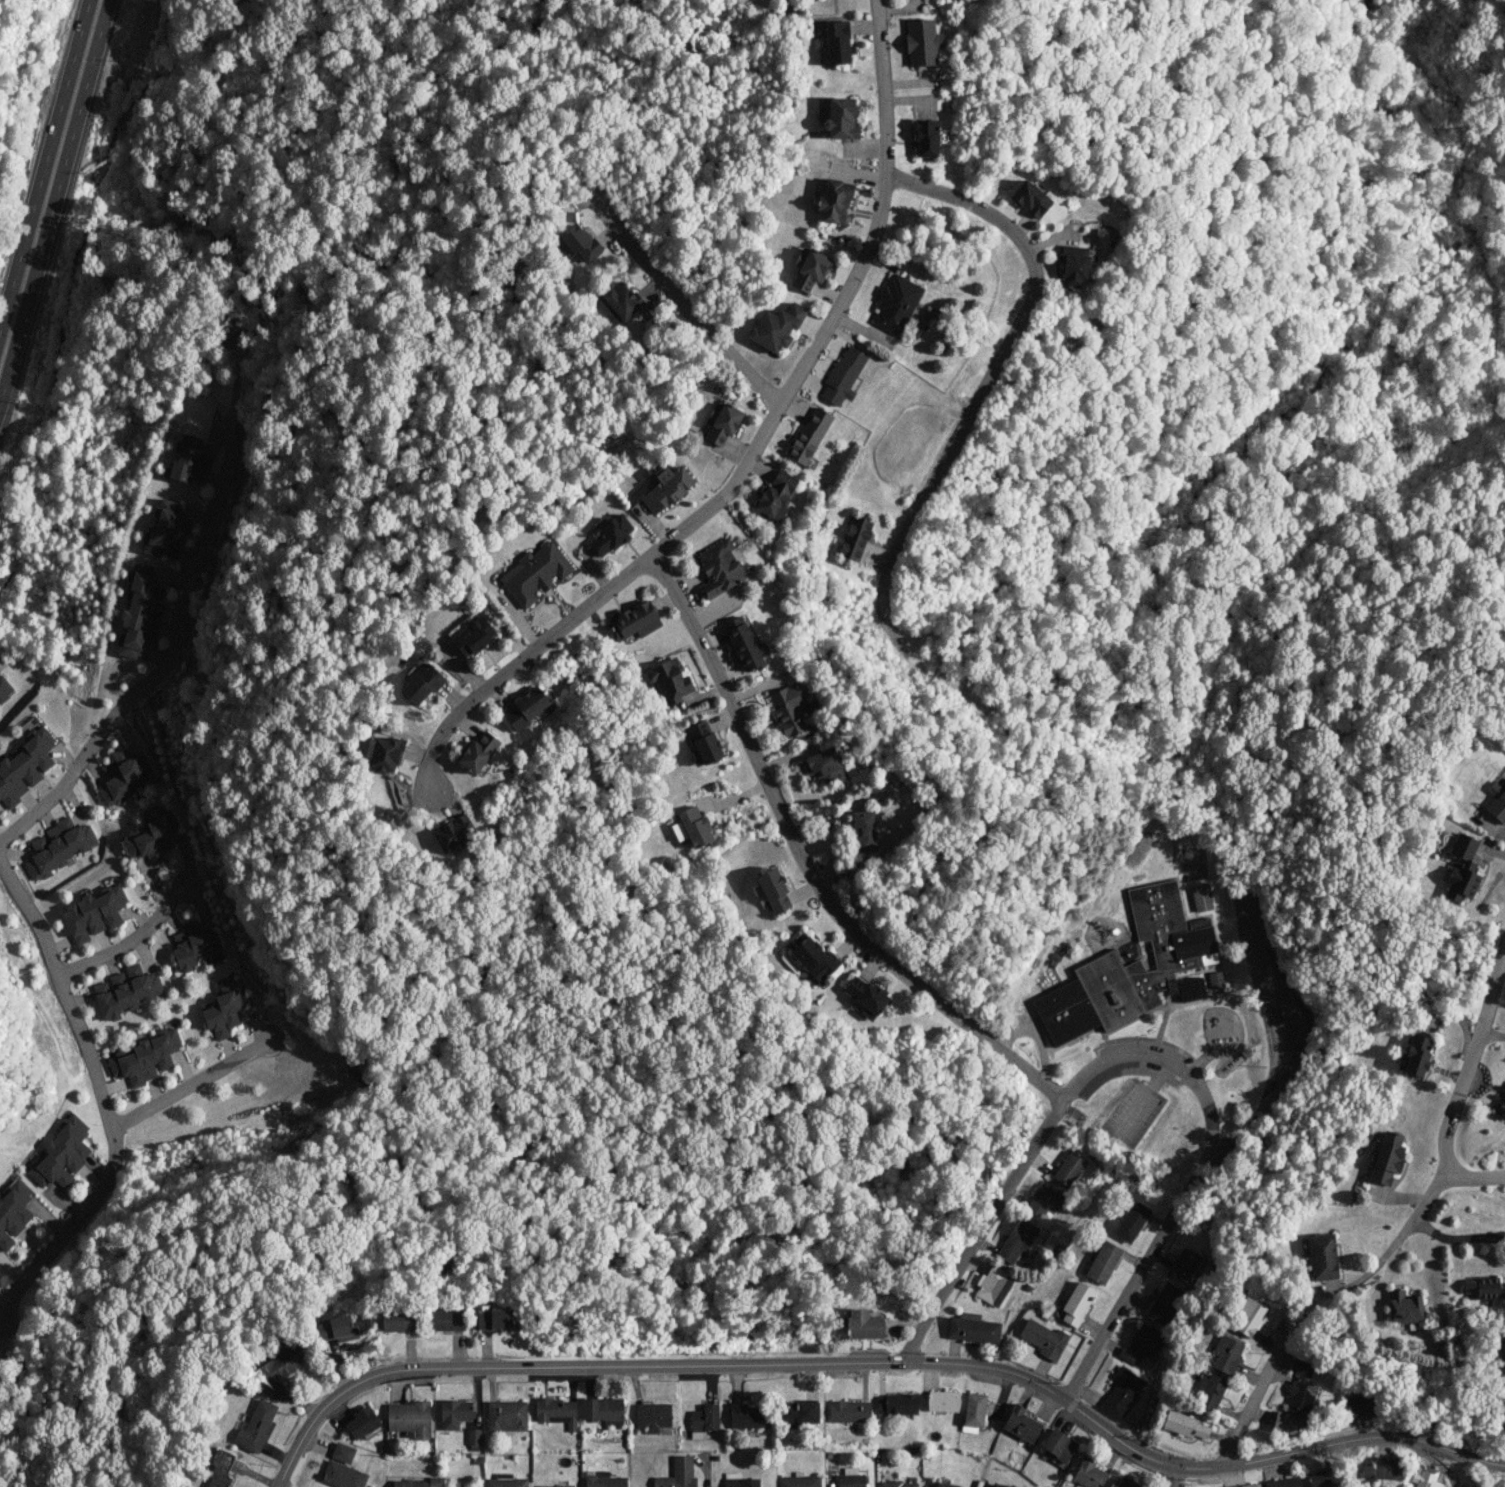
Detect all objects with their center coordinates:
building: (837, 42)
building: (922, 42)
building: (841, 118)
building: (926, 137)
road: (44, 163)
road: (55, 198)
building: (1030, 198)
building: (580, 242)
building: (1074, 265)
building: (810, 269)
building: (619, 302)
building: (895, 304)
road: (685, 310)
building: (776, 326)
building: (842, 376)
road: (987, 385)
building: (722, 424)
building: (809, 435)
building: (188, 460)
building: (666, 487)
building: (776, 495)
building: (165, 528)
building: (610, 535)
building: (855, 537)
building: (720, 567)
building: (534, 572)
road: (682, 607)
building: (141, 611)
building: (634, 621)
building: (473, 636)
building: (743, 643)
road: (522, 660)
road: (162, 669)
building: (669, 679)
building: (421, 683)
building: (4, 690)
building: (527, 707)
building: (788, 709)
building: (702, 742)
building: (478, 751)
building: (384, 754)
building: (25, 765)
building: (824, 765)
building: (122, 775)
building: (1496, 802)
building: (695, 825)
building: (864, 830)
building: (678, 831)
building: (453, 832)
building: (153, 837)
building: (57, 846)
building: (1462, 869)
building: (774, 890)
building: (1201, 896)
building: (93, 913)
road: (129, 939)
building: (193, 944)
building: (813, 957)
building: (1131, 969)
building: (1215, 979)
building: (125, 990)
building: (865, 997)
building: (223, 1009)
road: (1287, 1041)
building: (1417, 1055)
building: (145, 1057)
road: (1461, 1085)
road: (190, 1086)
road: (99, 1098)
building: (1501, 1106)
building: (60, 1153)
building: (1387, 1157)
building: (1068, 1168)
road: (1197, 1178)
building: (1043, 1199)
building: (12, 1211)
building: (1131, 1221)
building: (1017, 1239)
road: (966, 1255)
building: (1322, 1256)
building: (1103, 1262)
building: (1185, 1262)
building: (992, 1285)
building: (1483, 1287)
building: (1164, 1302)
road: (1316, 1303)
building: (1076, 1304)
building: (1404, 1306)
building: (1247, 1316)
building: (493, 1318)
building: (398, 1320)
building: (446, 1320)
building: (863, 1324)
building: (336, 1328)
building: (972, 1328)
building: (1043, 1338)
building: (1140, 1344)
building: (1225, 1354)
building: (280, 1363)
road: (713, 1366)
building: (1300, 1387)
building: (1210, 1390)
building: (1121, 1391)
building: (943, 1401)
building: (896, 1404)
building: (1358, 1404)
building: (603, 1409)
building: (849, 1410)
building: (556, 1411)
building: (800, 1411)
building: (454, 1412)
building: (973, 1412)
building: (506, 1415)
building: (747, 1415)
building: (653, 1417)
building: (409, 1418)
building: (703, 1420)
building: (361, 1422)
building: (1286, 1422)
building: (1021, 1423)
building: (256, 1424)
building: (1184, 1424)
building: (473, 1438)
road: (1342, 1440)
building: (1058, 1445)
building: (342, 1452)
building: (219, 1470)
building: (1387, 1470)
building: (1088, 1473)
building: (677, 1474)
building: (342, 1475)
road: (1174, 1476)
building: (1324, 1477)
building: (1425, 1477)
building: (850, 1478)
building: (603, 1479)
building: (799, 1481)
building: (419, 1482)
building: (507, 1482)
building: (740, 1482)
building: (1121, 1482)
building: (1283, 1482)
building: (897, 1484)
building: (942, 1484)
building: (556, 1485)
building: (995, 1485)
building: (1245, 1485)

